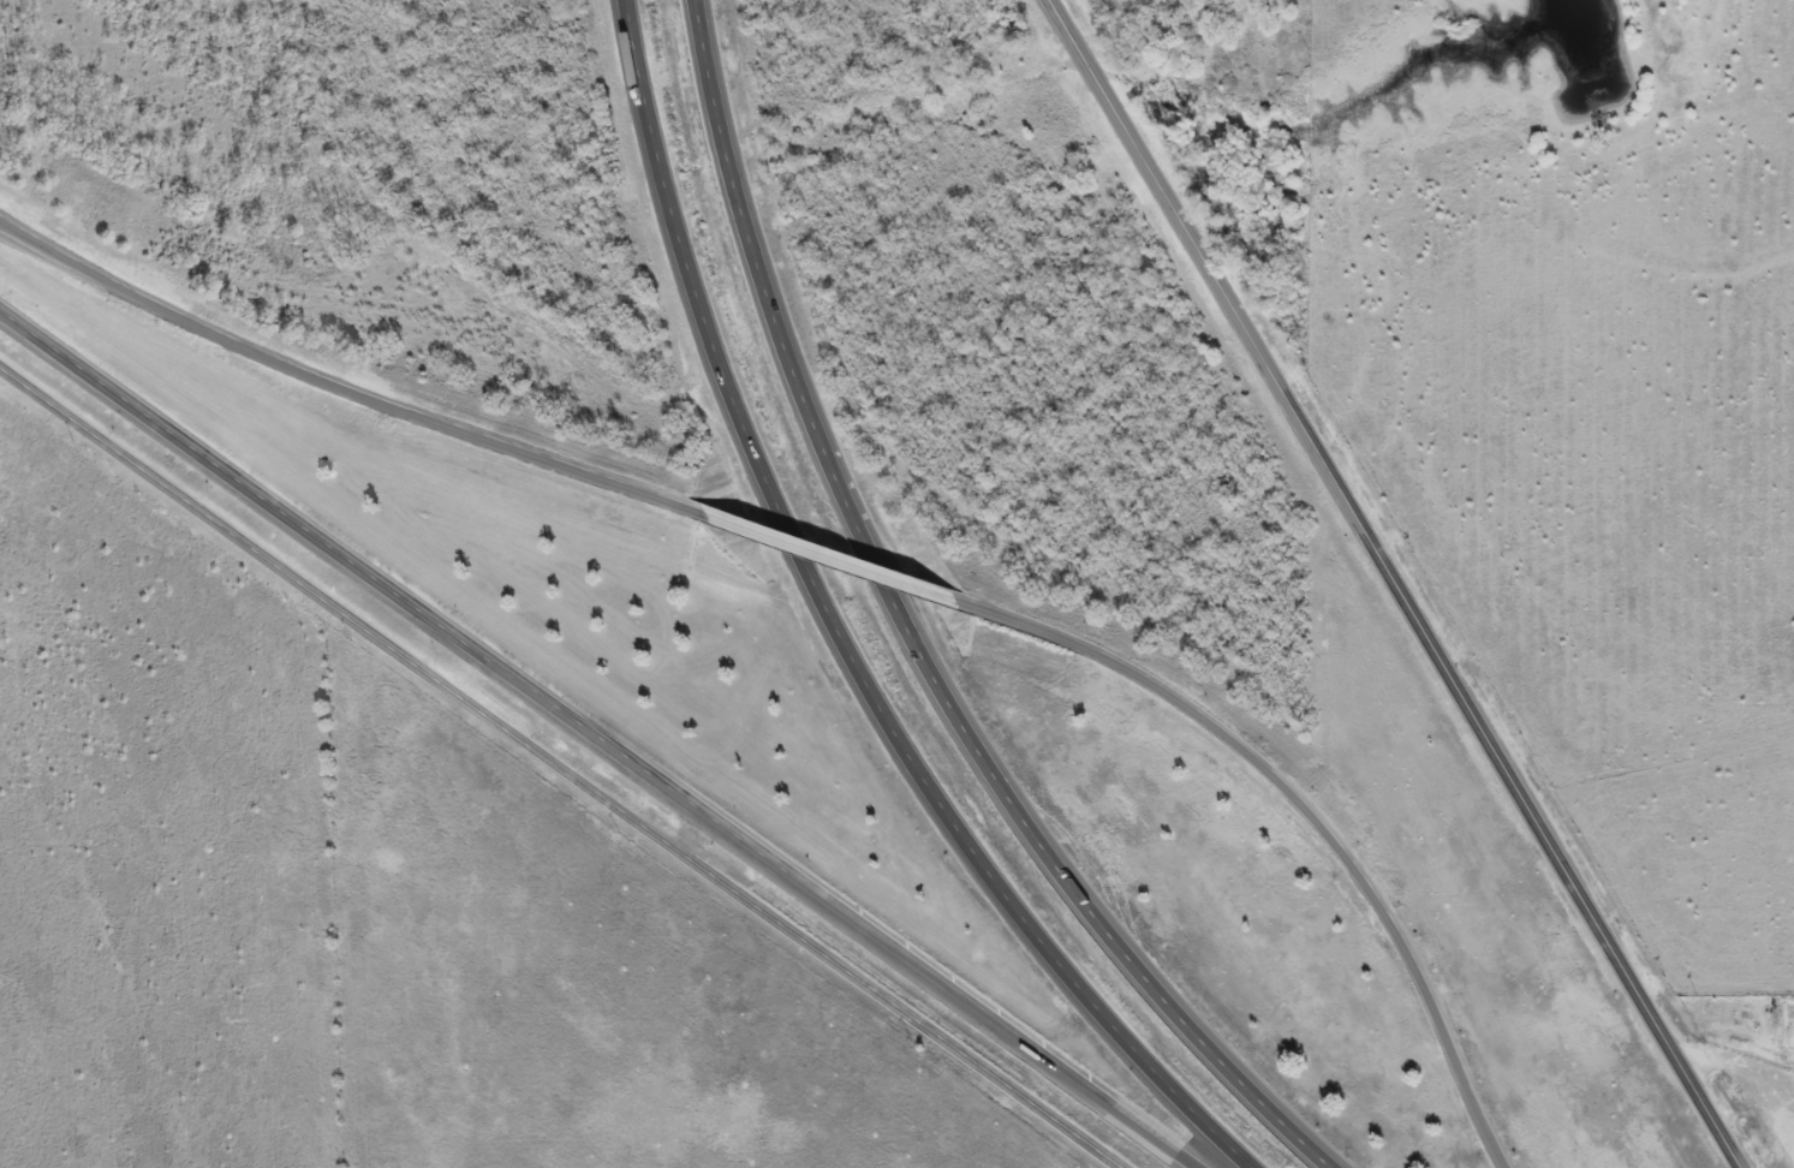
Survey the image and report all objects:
road: (346, 380)
road: (840, 556)
road: (377, 578)
road: (1397, 583)
road: (914, 638)
road: (835, 639)
road: (559, 768)
road: (1311, 816)
road: (981, 1007)
road: (1748, 1081)

